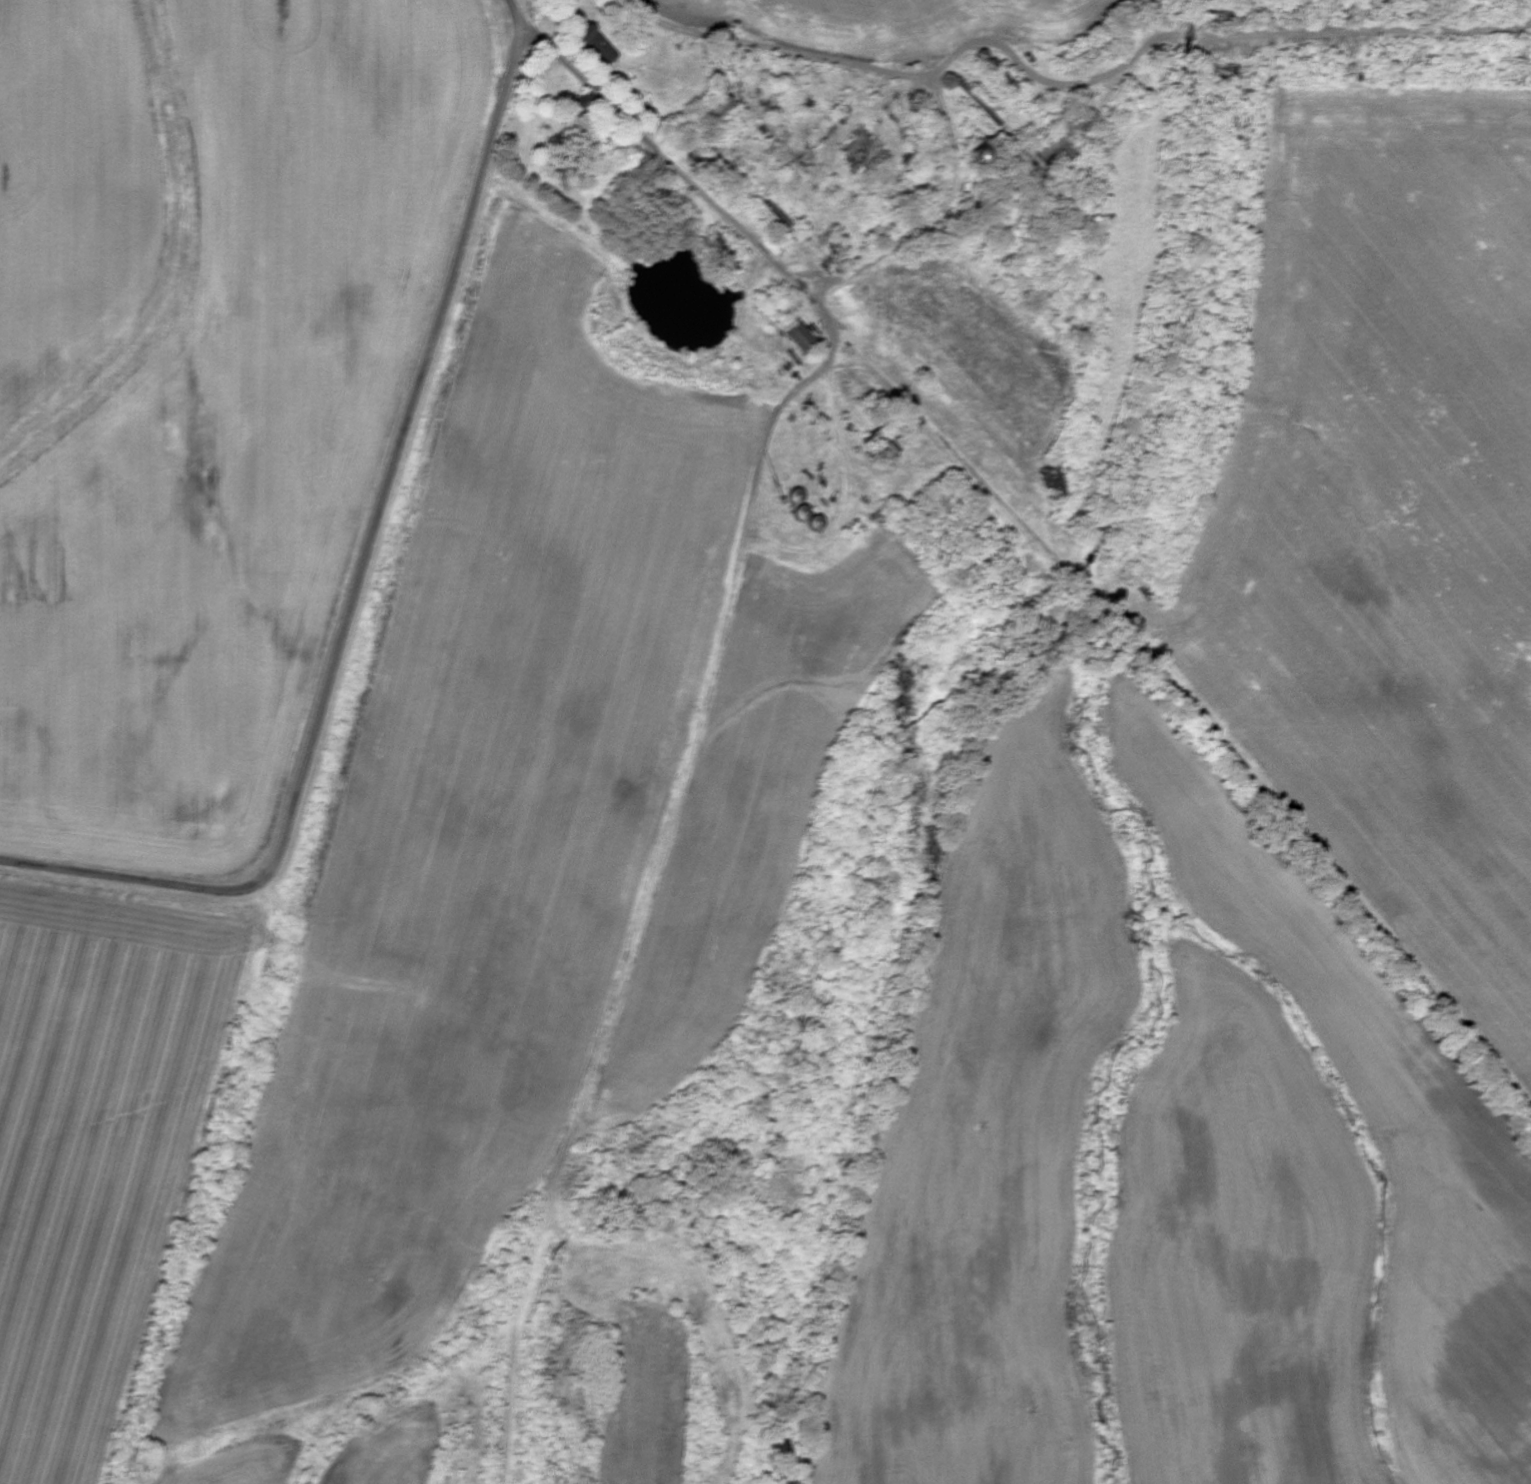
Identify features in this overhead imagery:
building: (598, 47)
building: (801, 339)
road: (360, 568)

